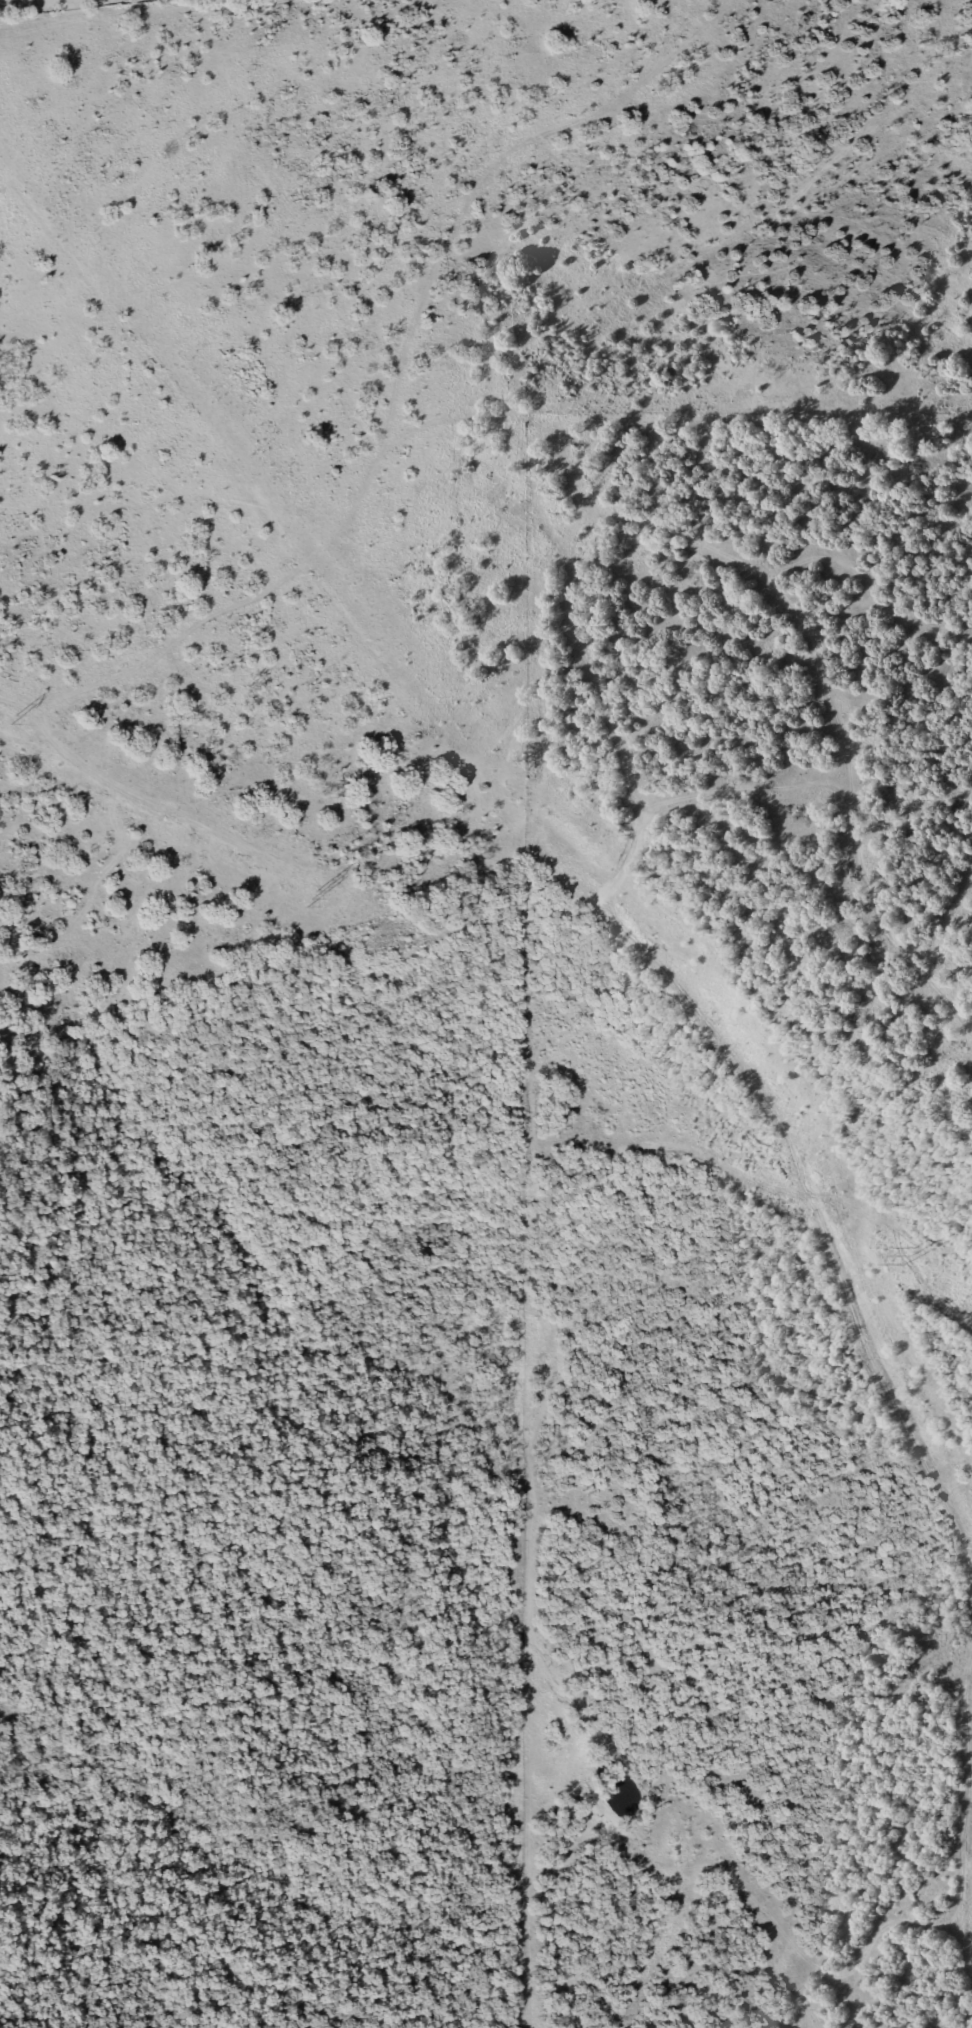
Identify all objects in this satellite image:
road: (631, 730)

